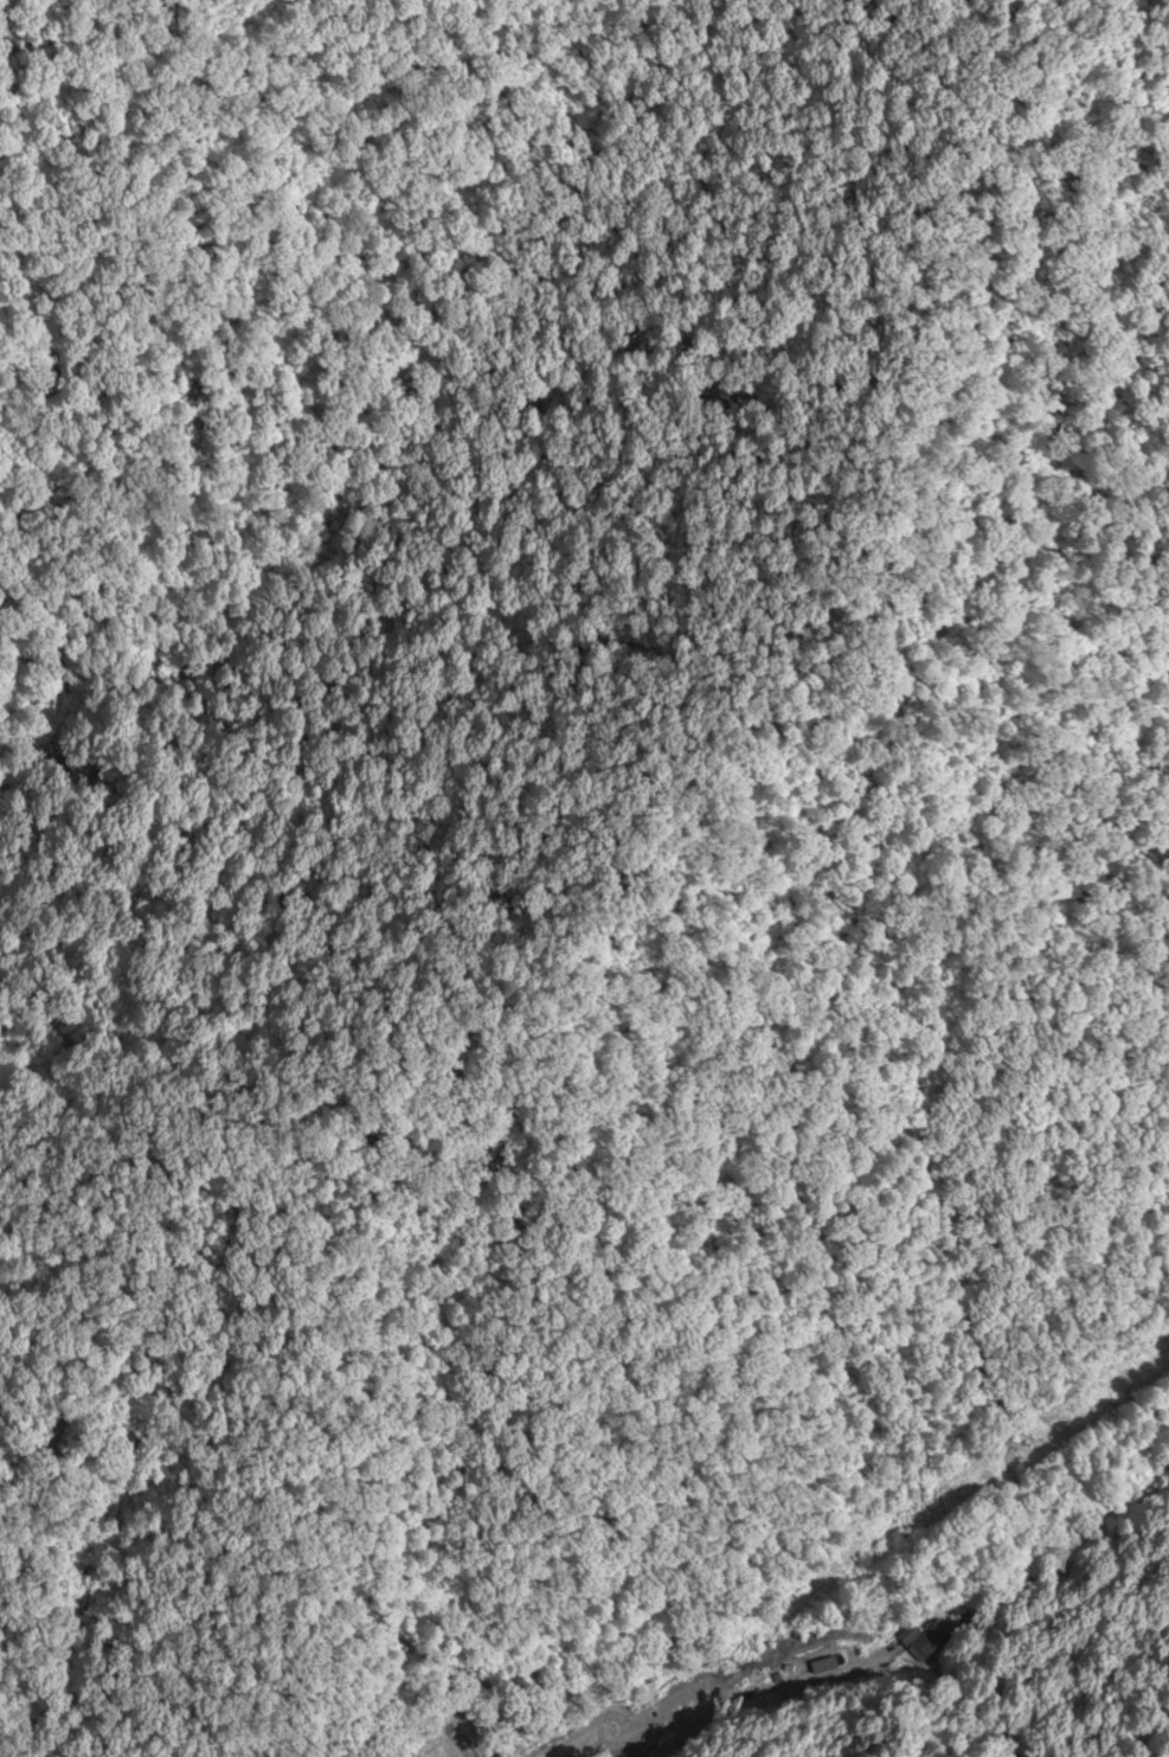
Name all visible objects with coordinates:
road: (871, 1534)
building: (918, 1640)

